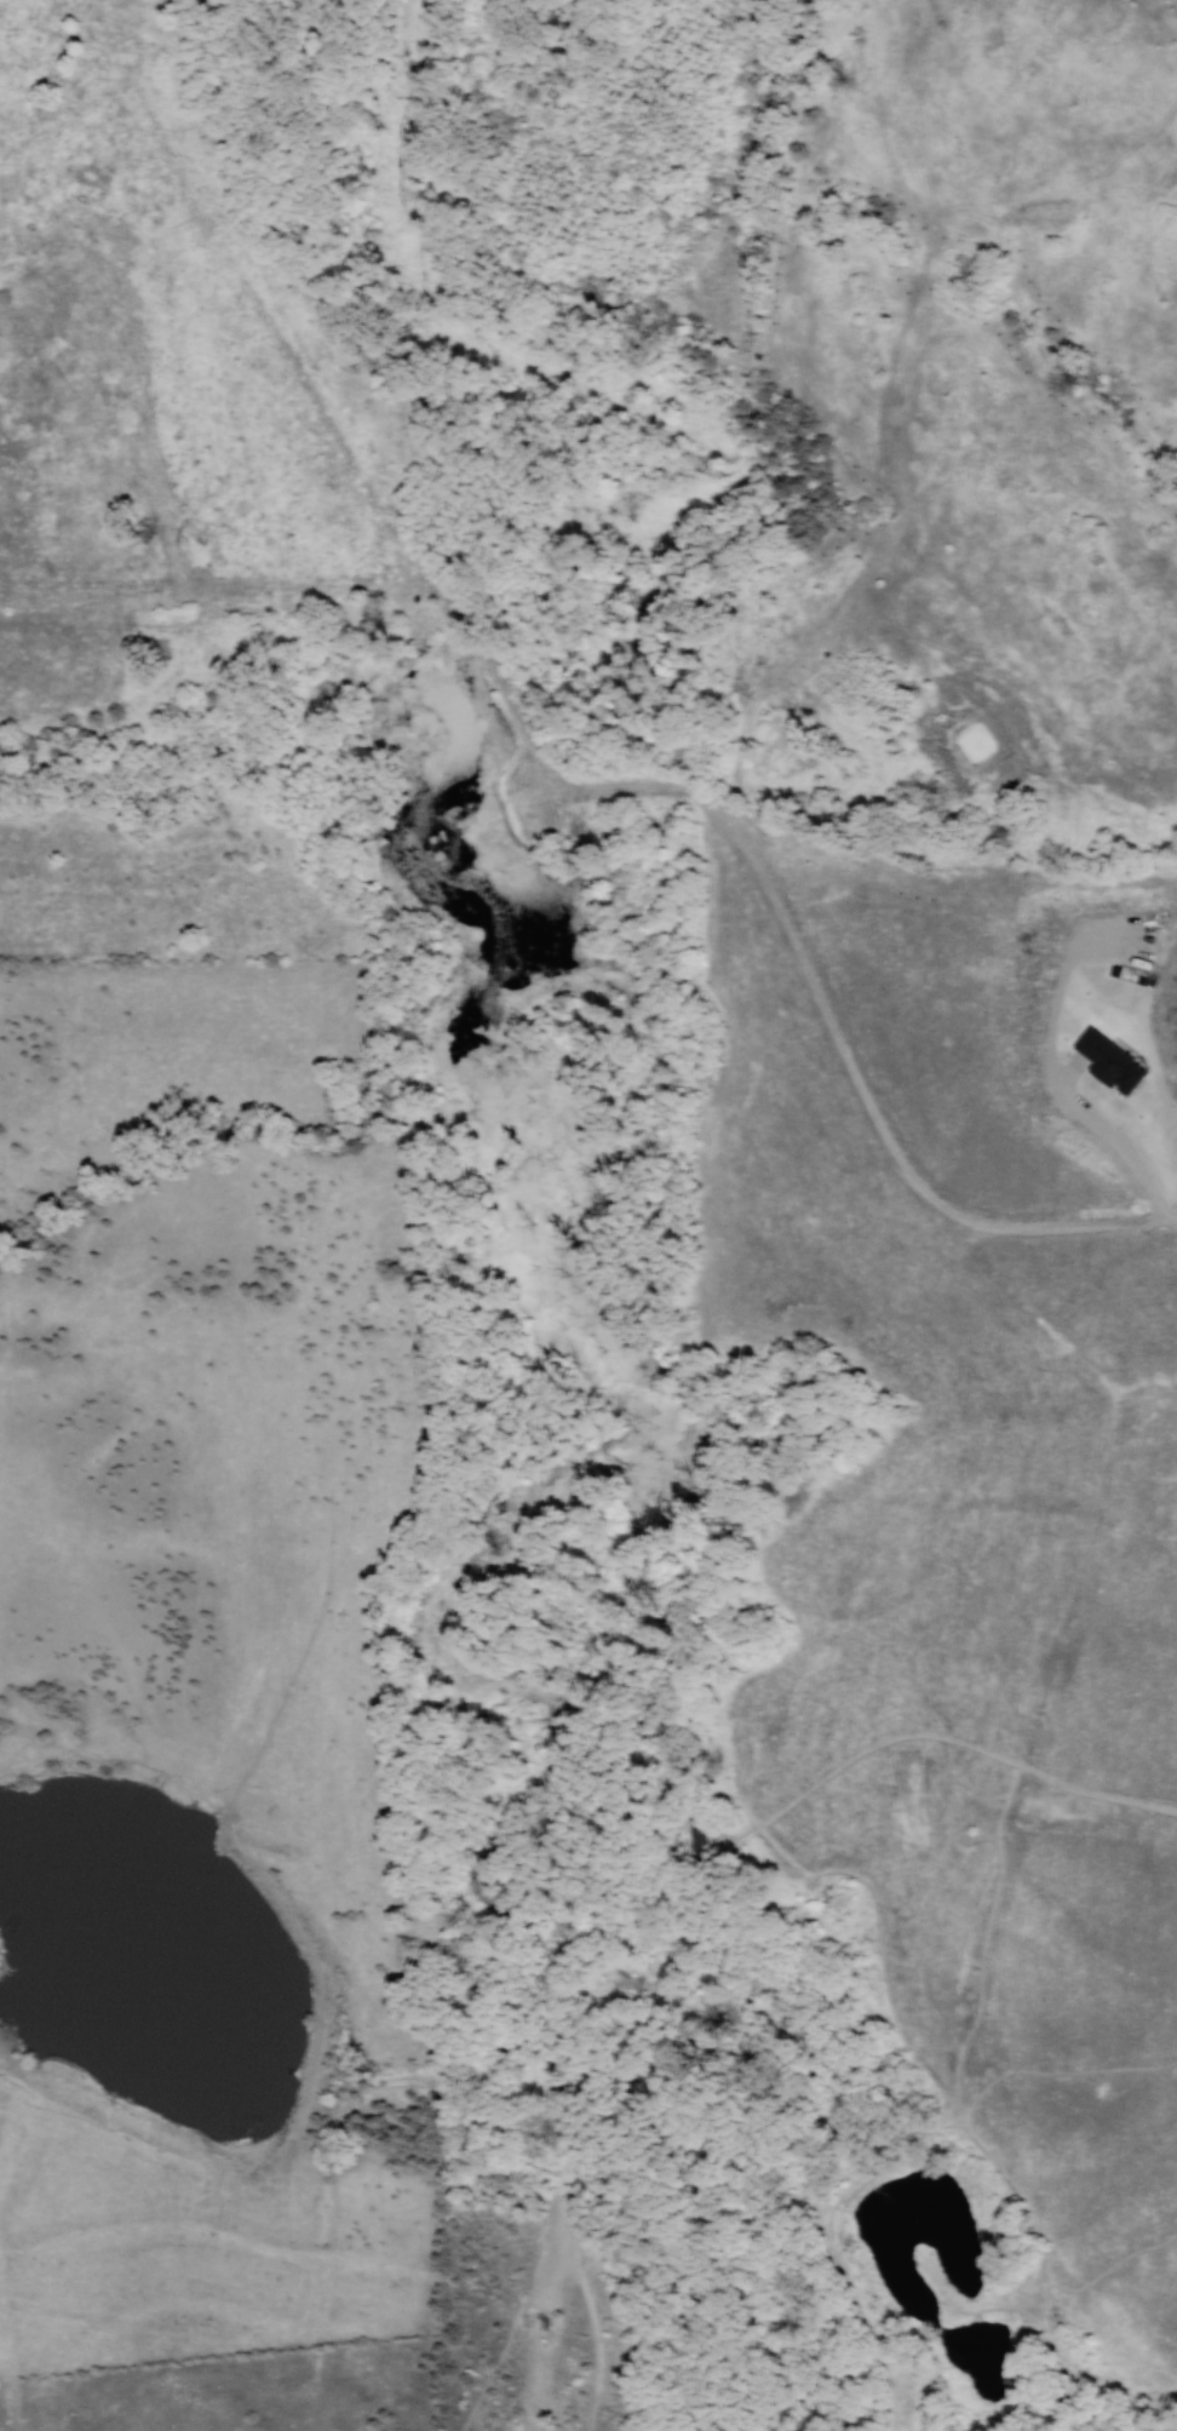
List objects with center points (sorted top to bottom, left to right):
road: (1116, 1137)

